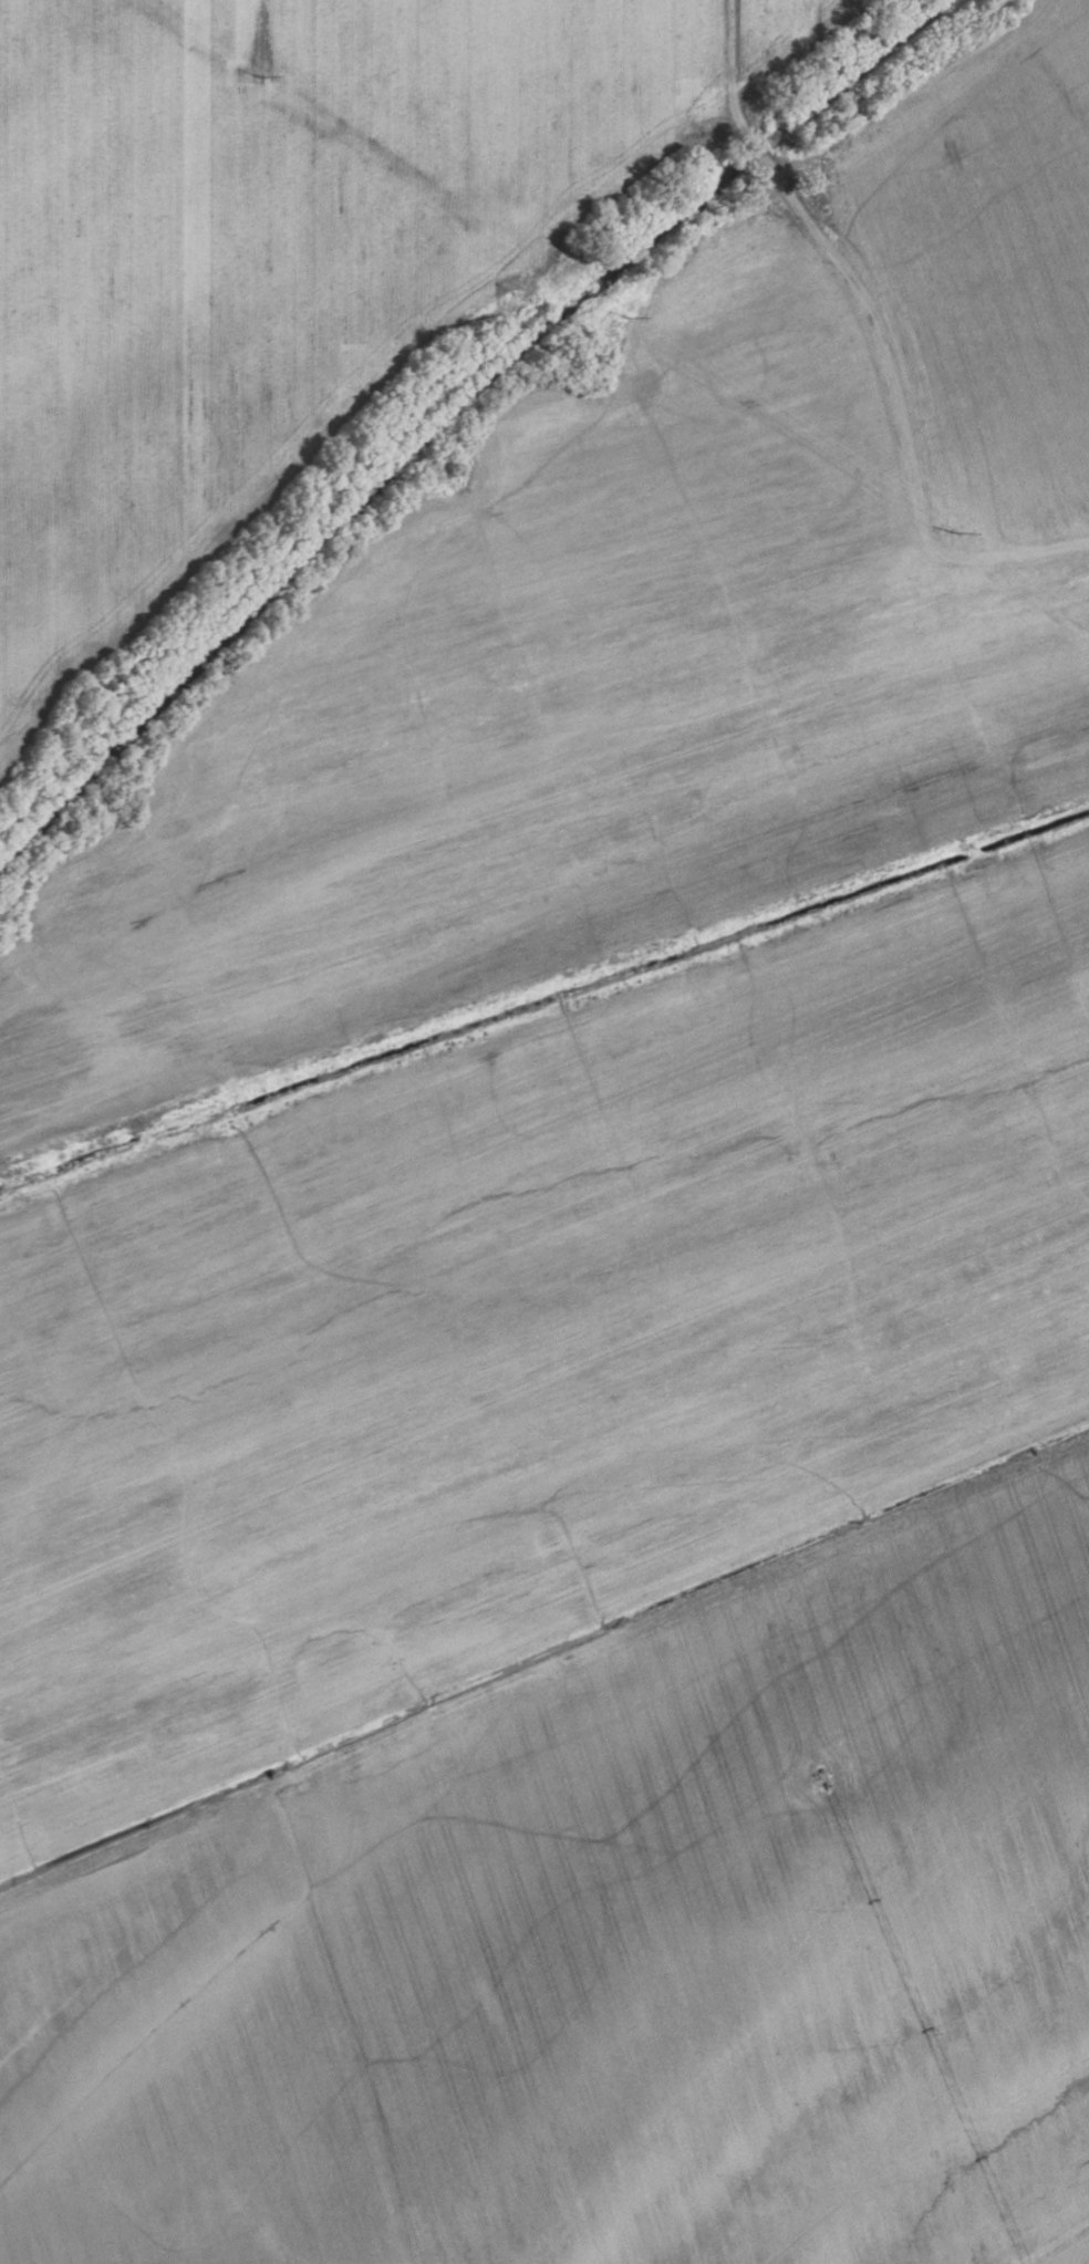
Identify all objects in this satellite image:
road: (873, 340)
road: (543, 1653)
road: (1054, 2242)

